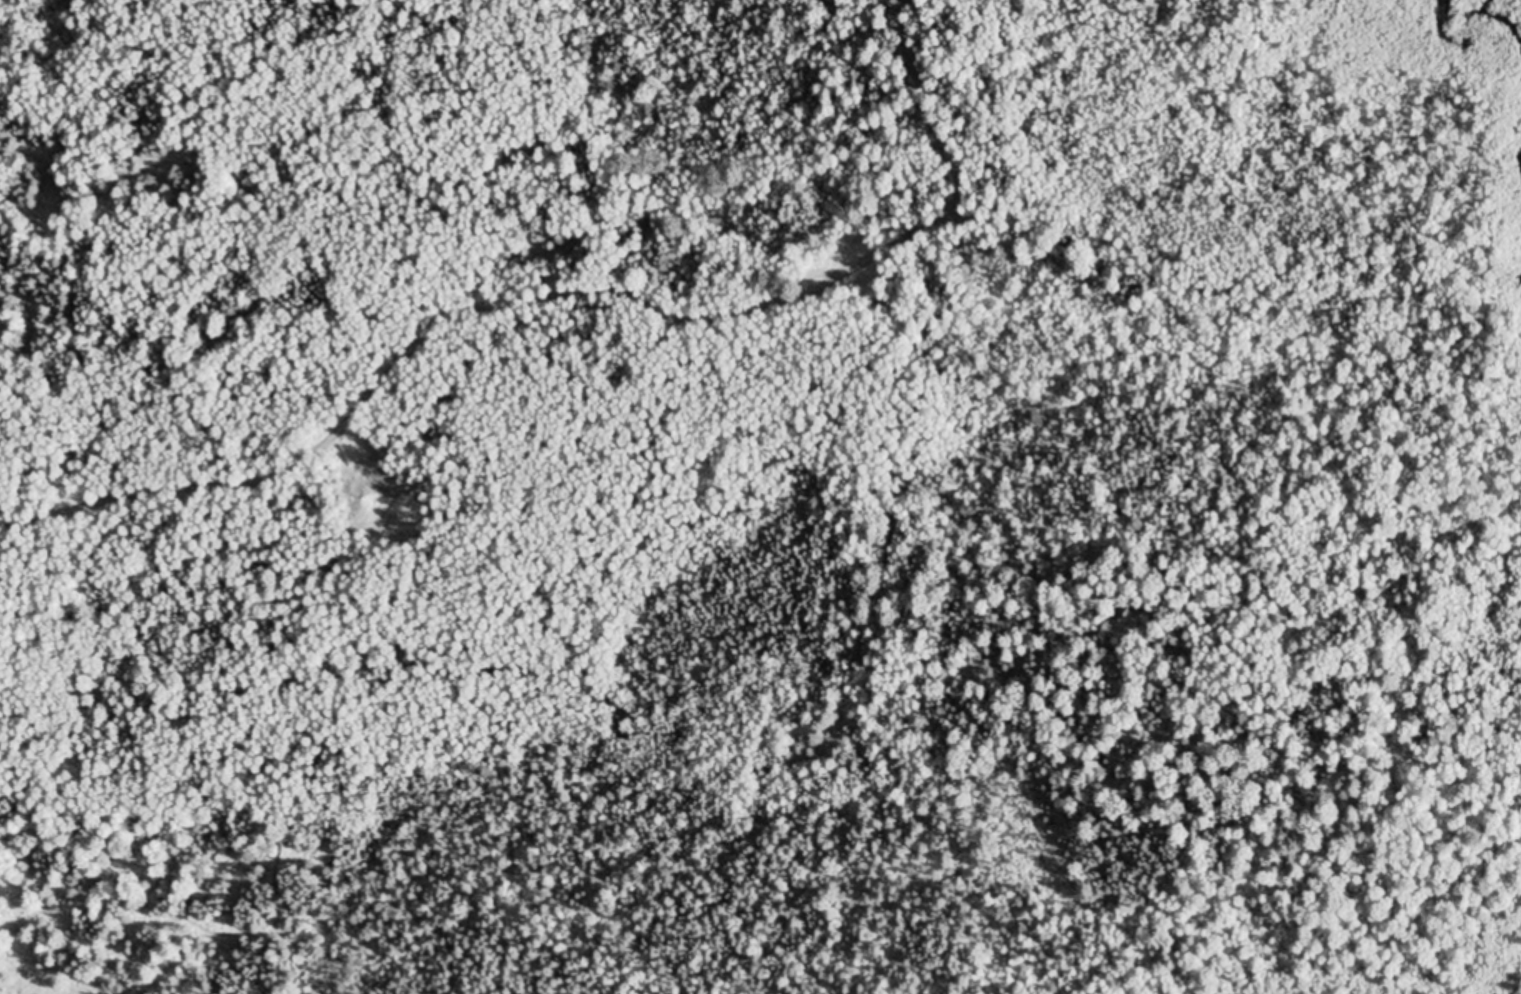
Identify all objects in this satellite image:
road: (560, 289)

